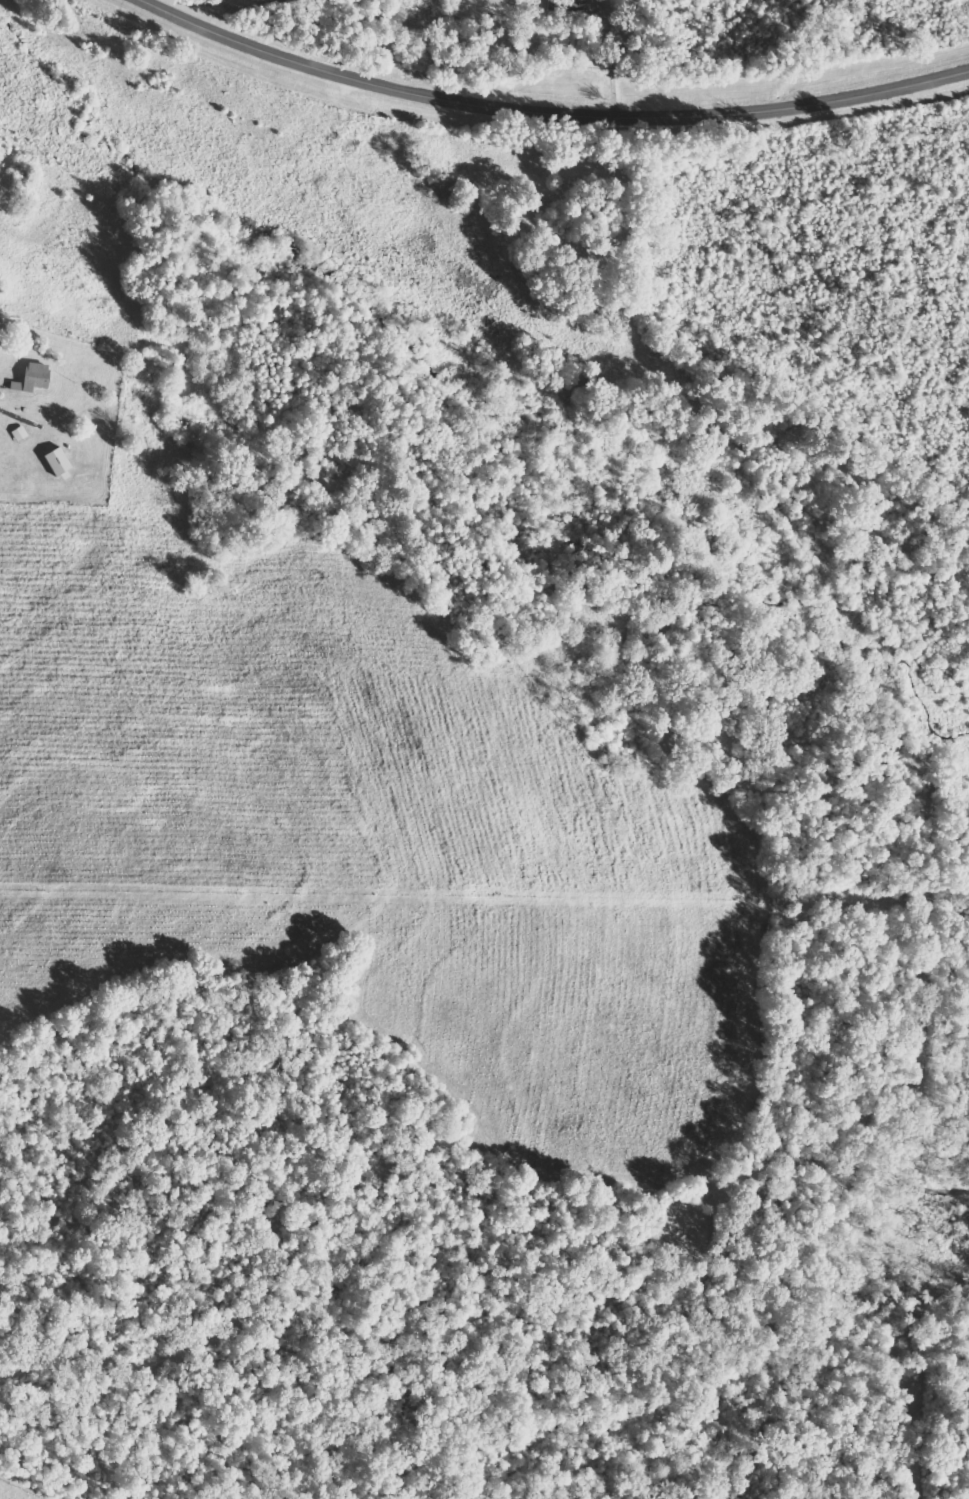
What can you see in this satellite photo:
road: (547, 112)
building: (35, 377)
road: (6, 400)
building: (57, 463)

